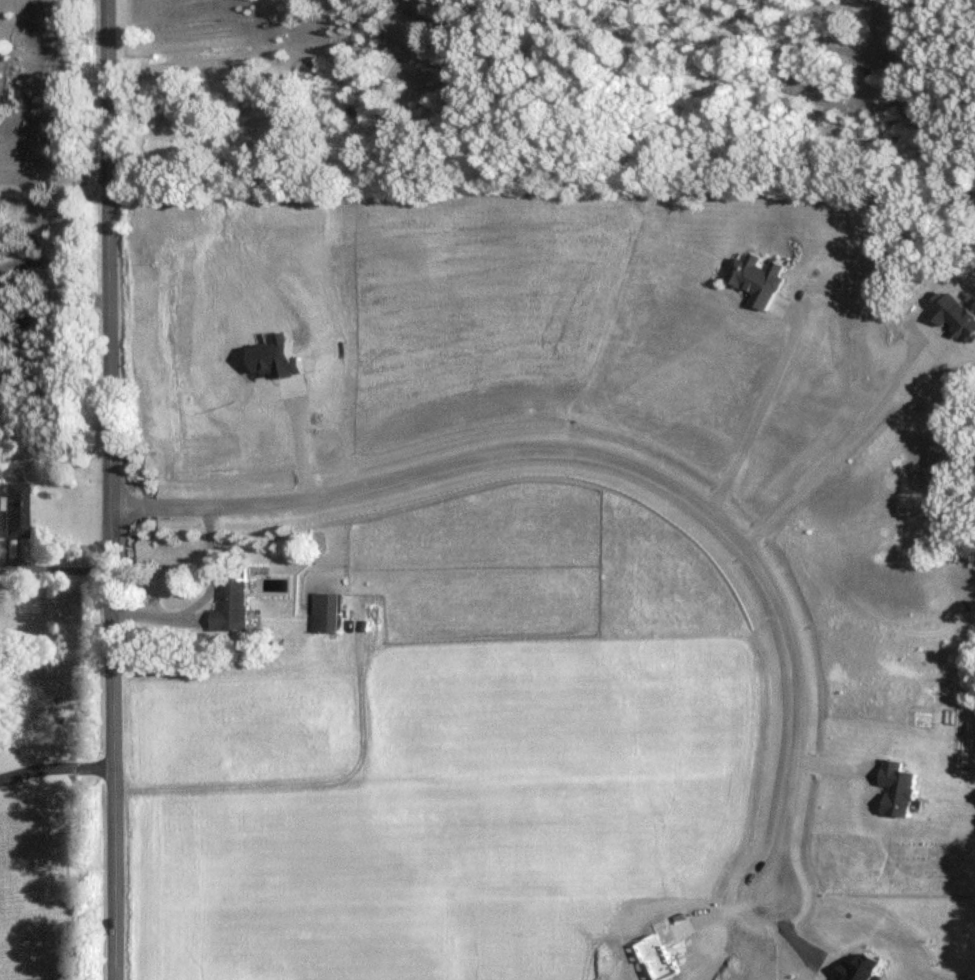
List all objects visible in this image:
road: (55, 168)
road: (59, 272)
building: (755, 279)
road: (756, 415)
road: (615, 459)
road: (112, 489)
building: (10, 510)
road: (57, 569)
road: (203, 599)
building: (231, 608)
building: (325, 613)
road: (56, 769)
road: (788, 931)

